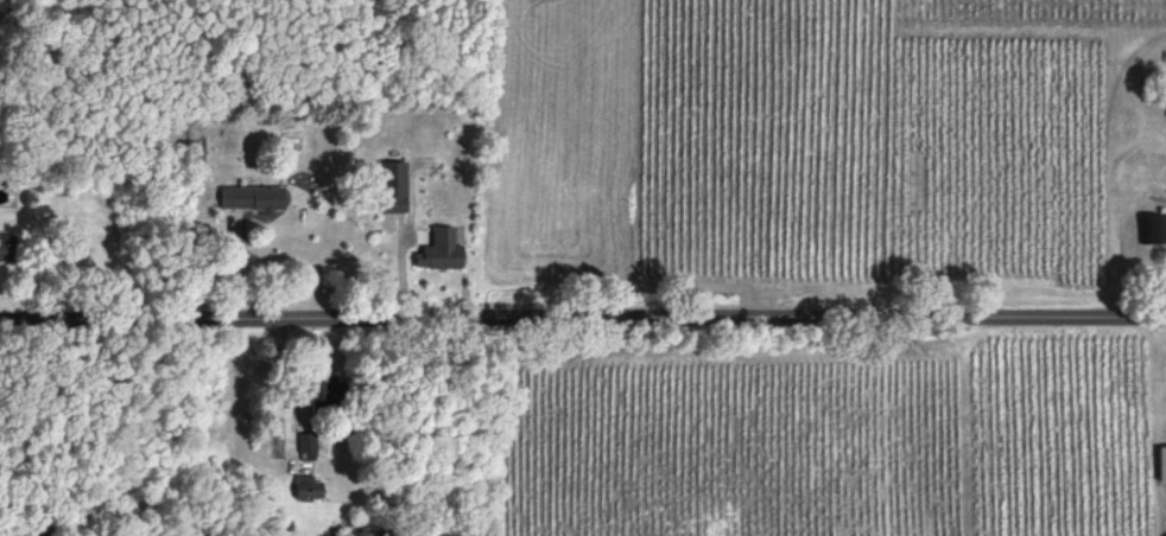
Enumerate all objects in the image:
building: (0, 0)
building: (393, 185)
building: (252, 196)
building: (1155, 228)
building: (5, 243)
building: (441, 248)
road: (582, 318)
building: (322, 387)
road: (64, 429)
building: (308, 444)
building: (1161, 460)
building: (306, 485)

